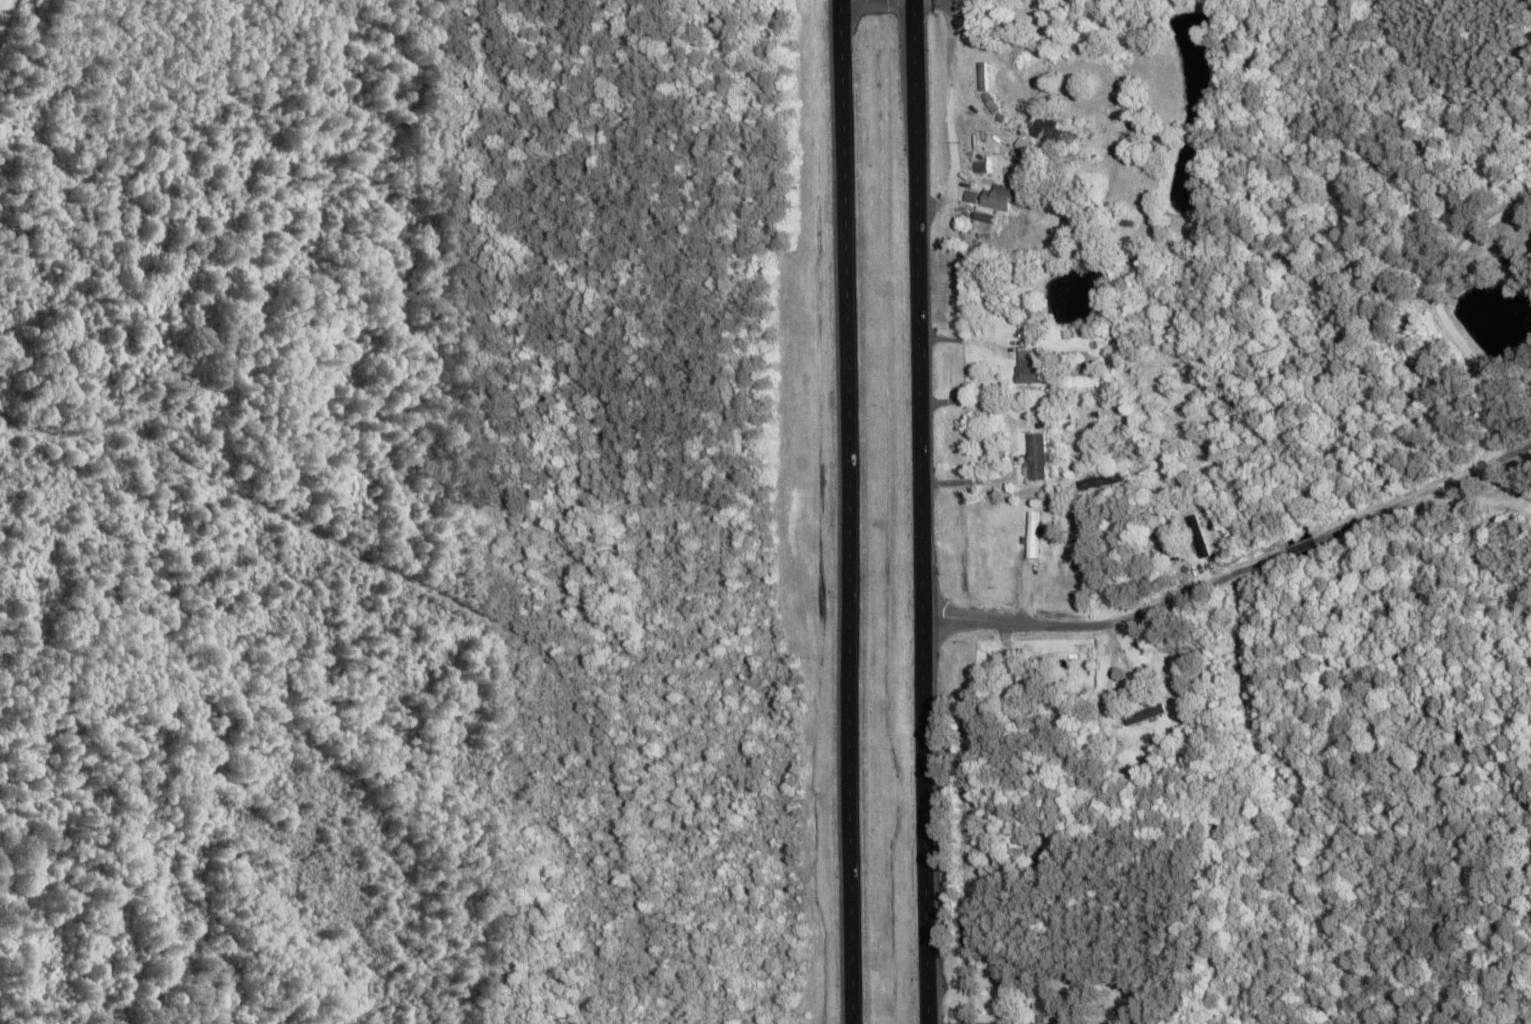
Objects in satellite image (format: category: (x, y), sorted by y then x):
road: (9, 21)
building: (1044, 125)
building: (1001, 196)
road: (1434, 311)
building: (1025, 367)
building: (1034, 455)
building: (1099, 480)
road: (1509, 485)
road: (844, 512)
road: (917, 512)
building: (1029, 534)
building: (1200, 546)
road: (1234, 575)
building: (1015, 673)
building: (1042, 1005)

